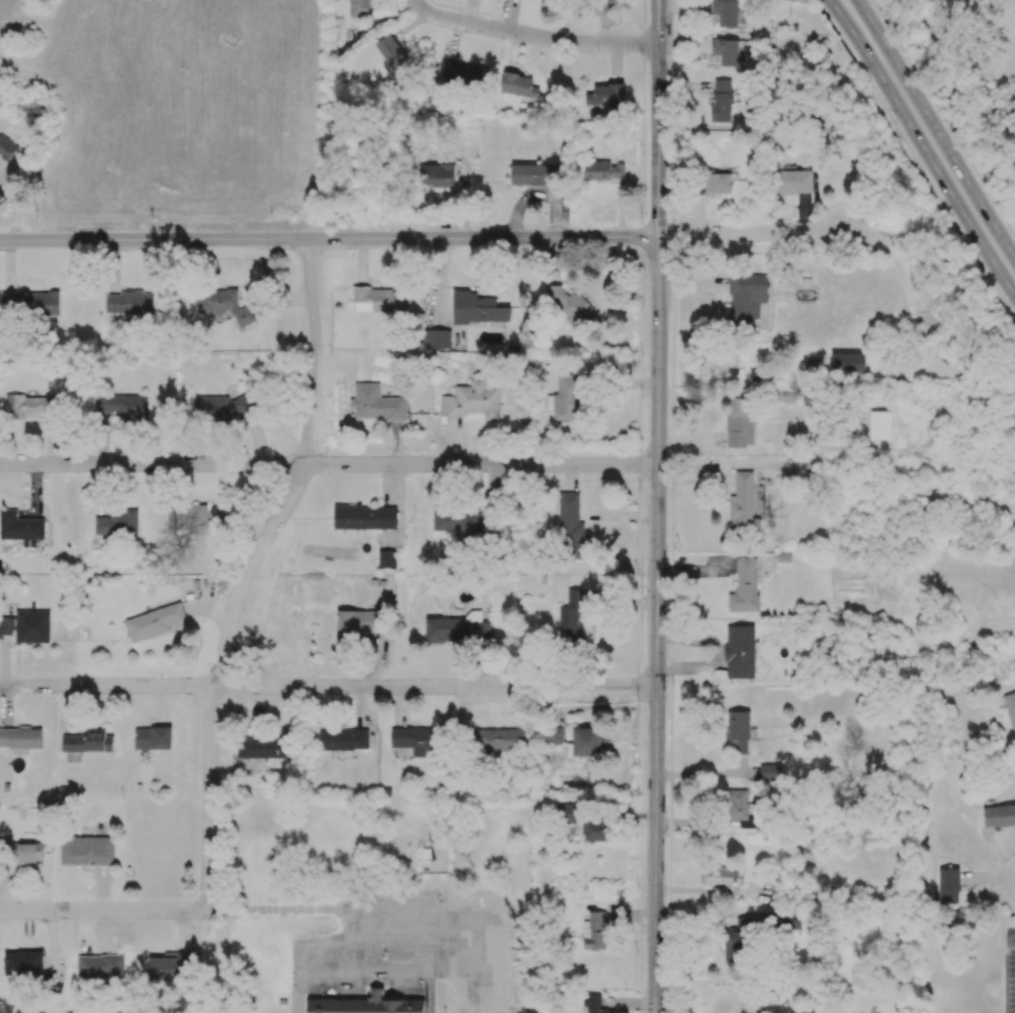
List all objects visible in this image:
building: (358, 8)
building: (725, 12)
road: (532, 35)
building: (390, 51)
building: (730, 53)
park: (980, 71)
building: (464, 76)
building: (518, 85)
building: (605, 94)
building: (721, 101)
road: (943, 118)
road: (658, 119)
road: (935, 129)
building: (7, 147)
road: (923, 148)
road: (916, 157)
building: (603, 170)
building: (535, 174)
building: (436, 175)
building: (794, 182)
building: (717, 183)
road: (14, 205)
road: (329, 237)
road: (751, 237)
building: (746, 298)
building: (381, 300)
building: (34, 302)
building: (128, 302)
building: (223, 304)
building: (571, 306)
building: (477, 308)
building: (437, 339)
building: (847, 363)
building: (812, 364)
building: (786, 396)
building: (568, 397)
building: (472, 400)
building: (376, 403)
building: (28, 405)
building: (122, 405)
building: (230, 407)
building: (739, 424)
building: (879, 425)
road: (328, 463)
road: (720, 471)
building: (742, 502)
building: (187, 517)
building: (365, 517)
building: (458, 521)
building: (117, 523)
building: (571, 524)
building: (20, 527)
building: (387, 558)
road: (248, 568)
building: (745, 586)
building: (572, 616)
building: (153, 622)
building: (356, 623)
building: (6, 626)
building: (32, 626)
road: (656, 626)
building: (458, 628)
road: (717, 652)
building: (740, 652)
road: (327, 685)
building: (1010, 708)
building: (738, 730)
building: (551, 736)
building: (20, 737)
building: (153, 737)
building: (343, 739)
building: (415, 739)
building: (499, 740)
building: (88, 741)
building: (590, 742)
building: (265, 745)
building: (770, 772)
building: (738, 804)
building: (565, 813)
building: (999, 816)
building: (746, 823)
building: (595, 830)
building: (86, 850)
building: (25, 853)
building: (433, 861)
building: (716, 876)
building: (948, 886)
road: (1014, 898)
road: (104, 910)
building: (790, 920)
building: (596, 932)
building: (737, 941)
building: (23, 963)
road: (367, 964)
building: (100, 966)
building: (169, 966)
building: (594, 1004)
building: (365, 1005)

